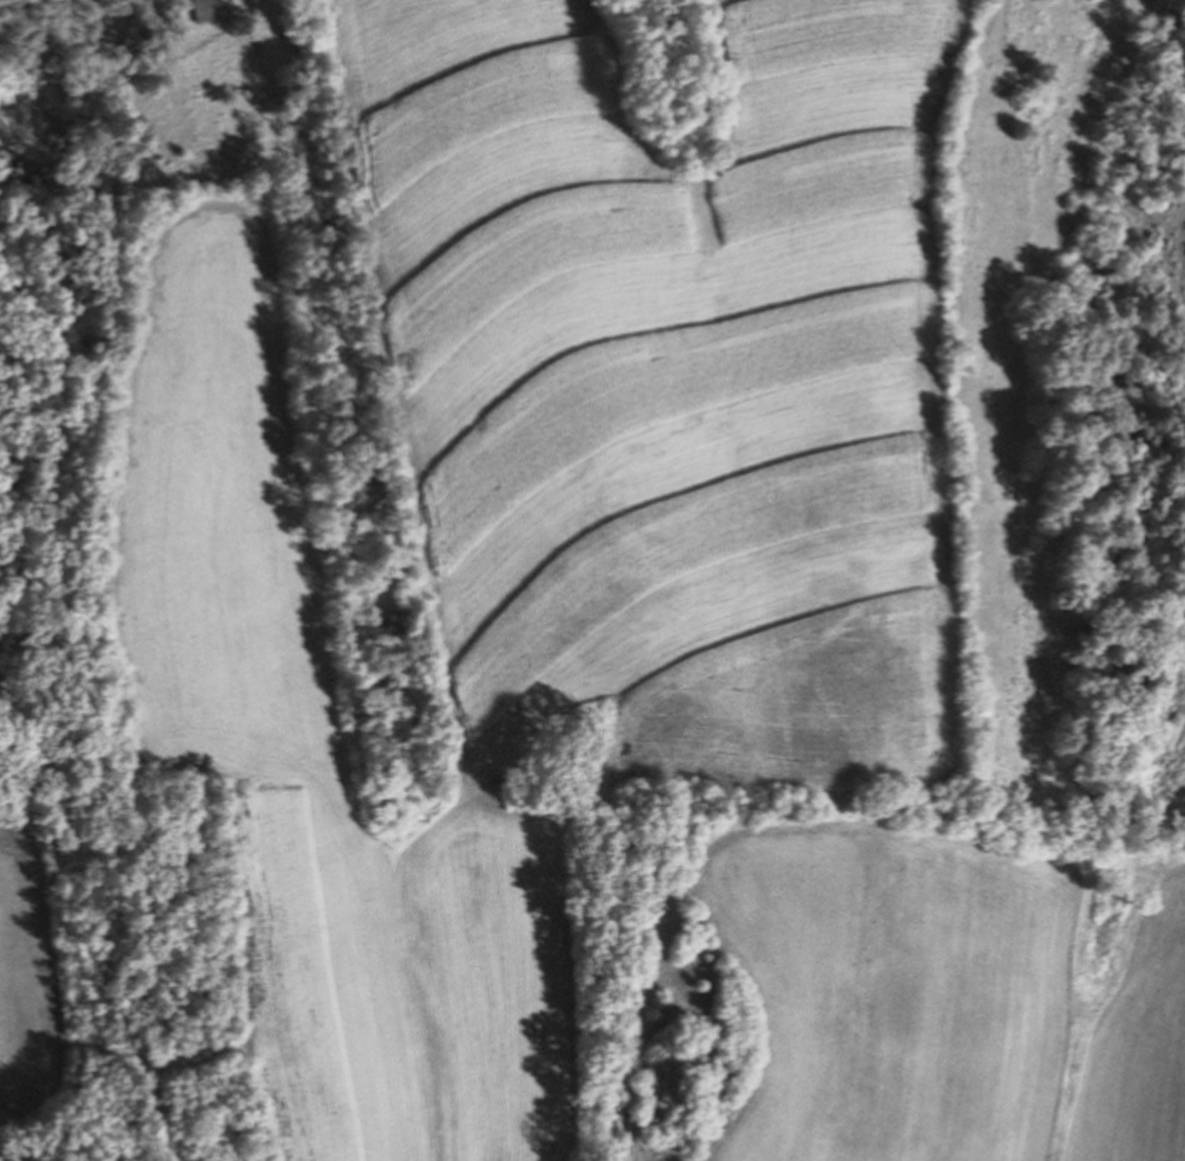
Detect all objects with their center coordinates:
building: (202, 11)
road: (641, 980)

